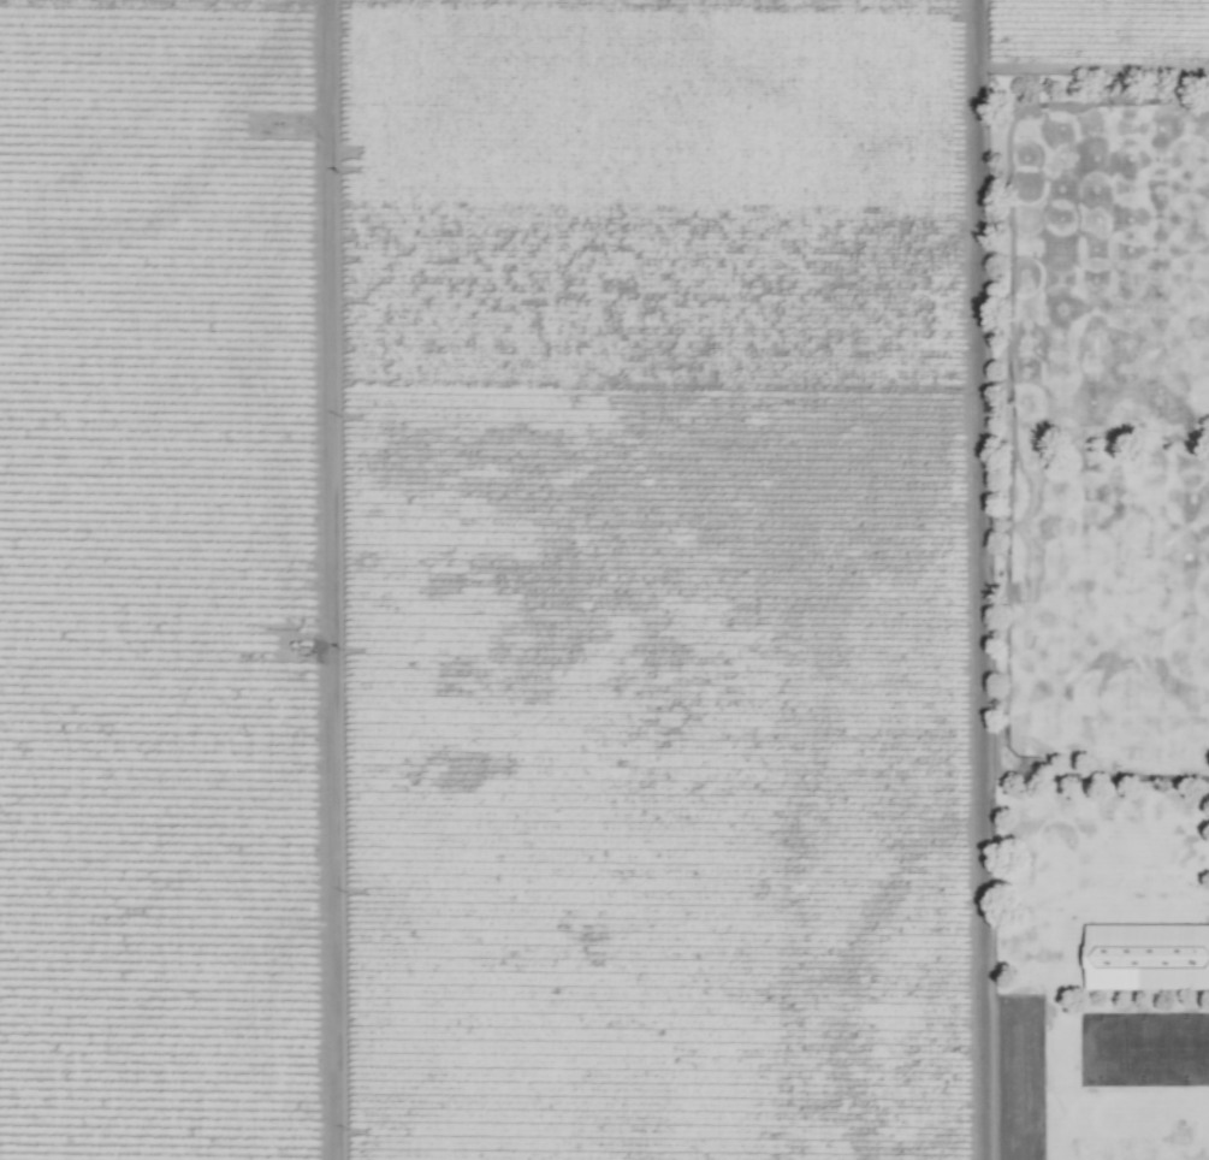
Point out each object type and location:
crop: (604, 580)
building: (1146, 955)

